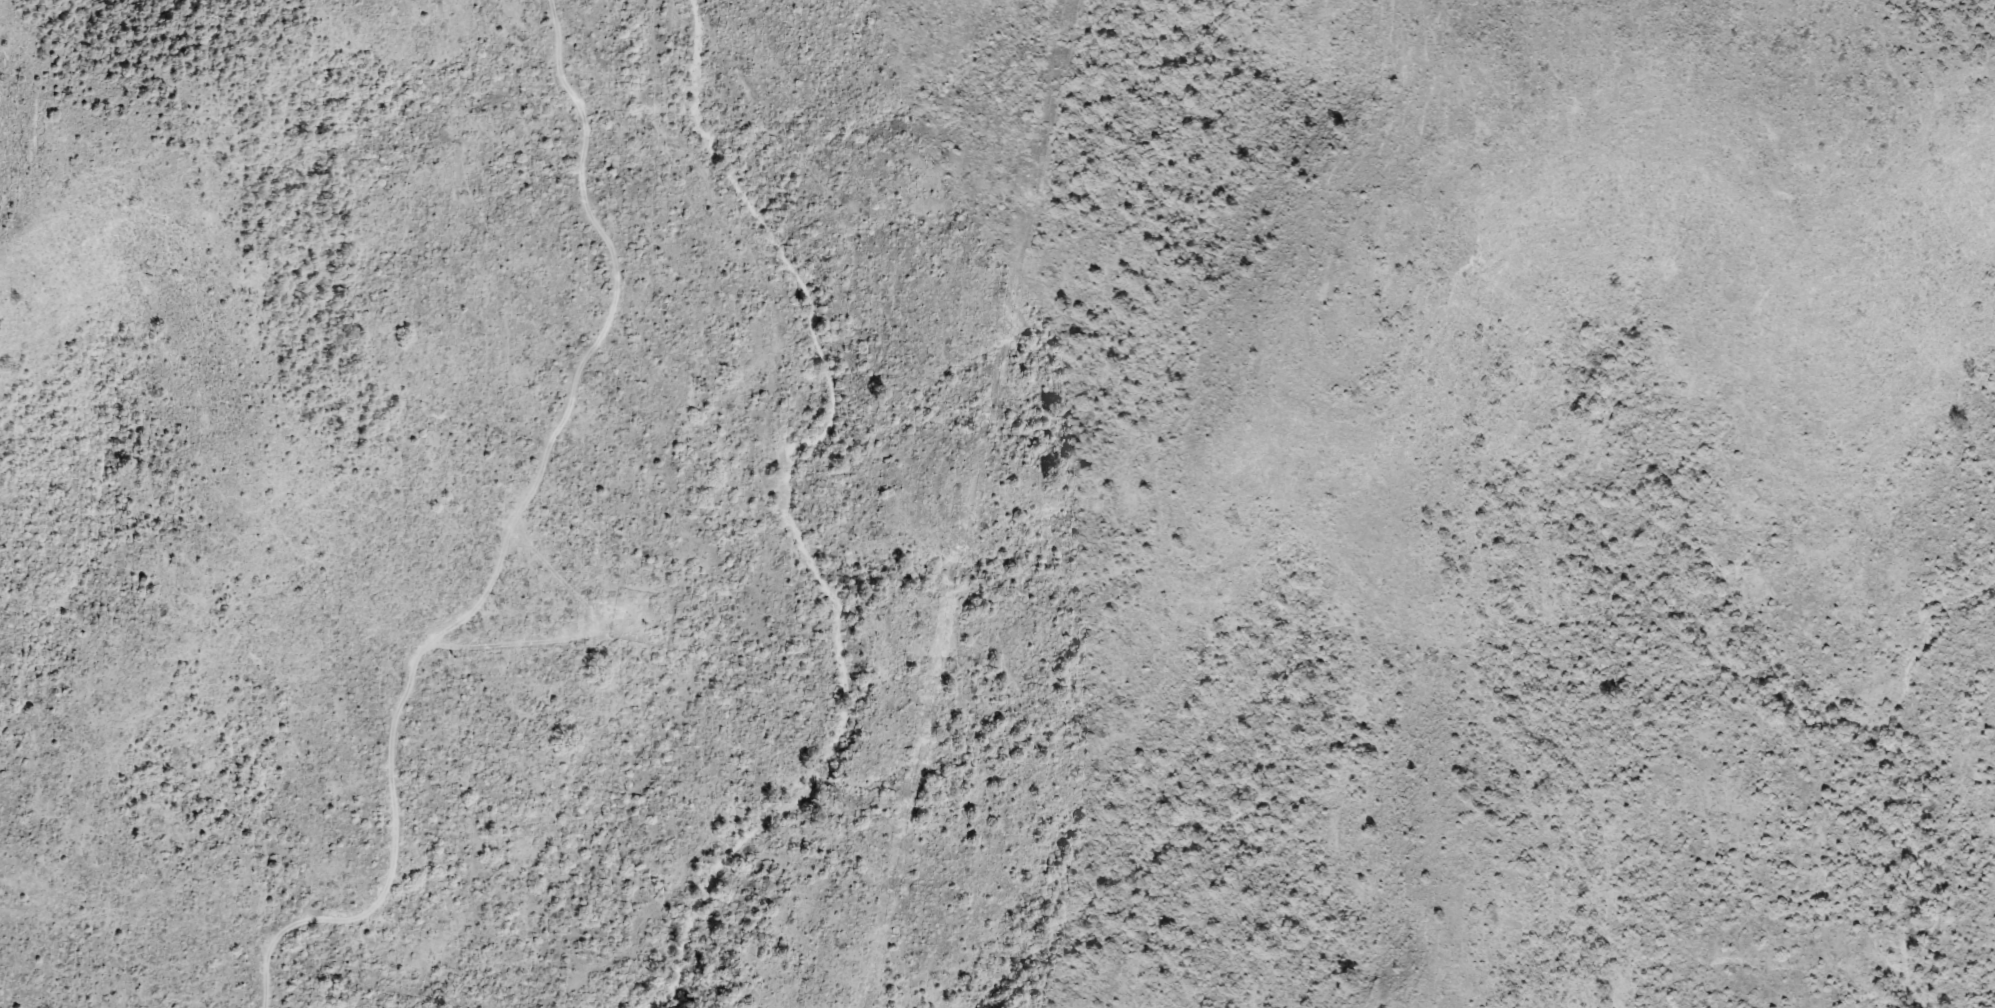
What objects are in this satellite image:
road: (511, 546)

